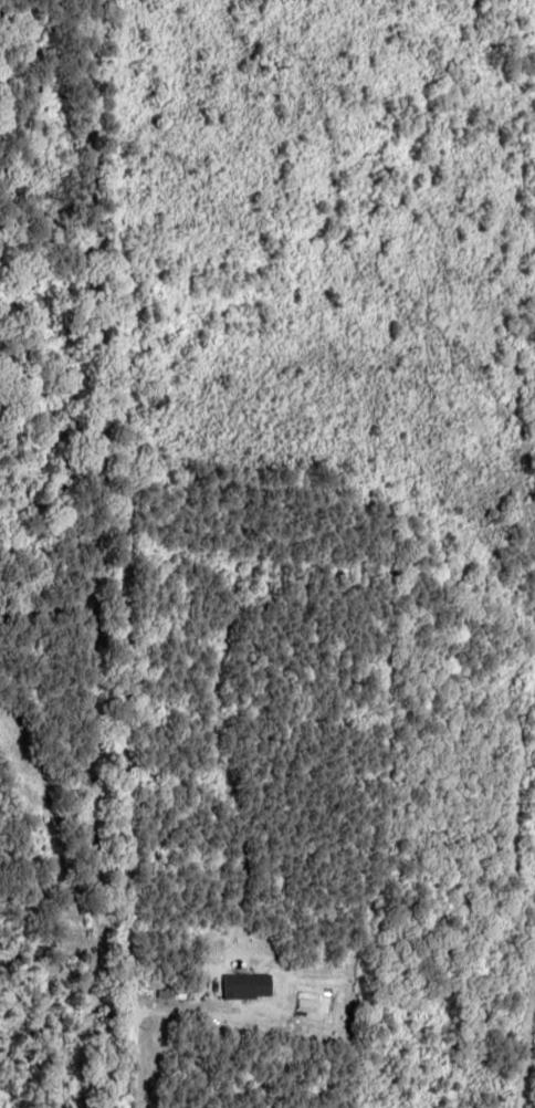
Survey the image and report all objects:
building: (248, 985)

